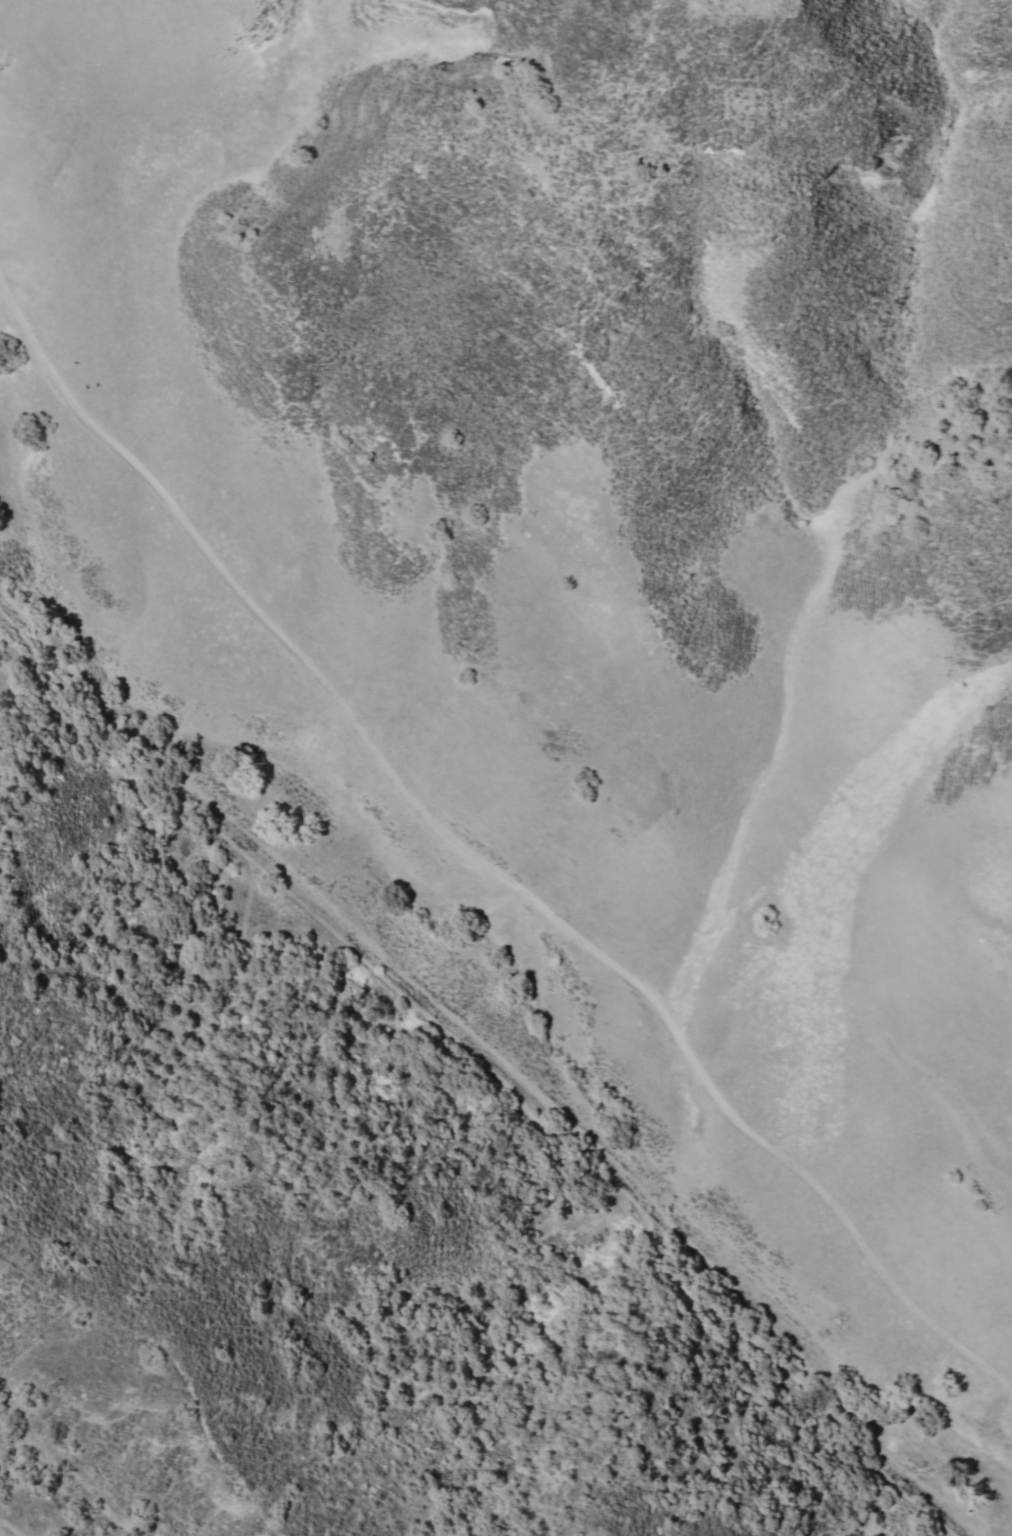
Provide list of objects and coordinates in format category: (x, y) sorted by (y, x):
road: (477, 857)
road: (207, 1224)

